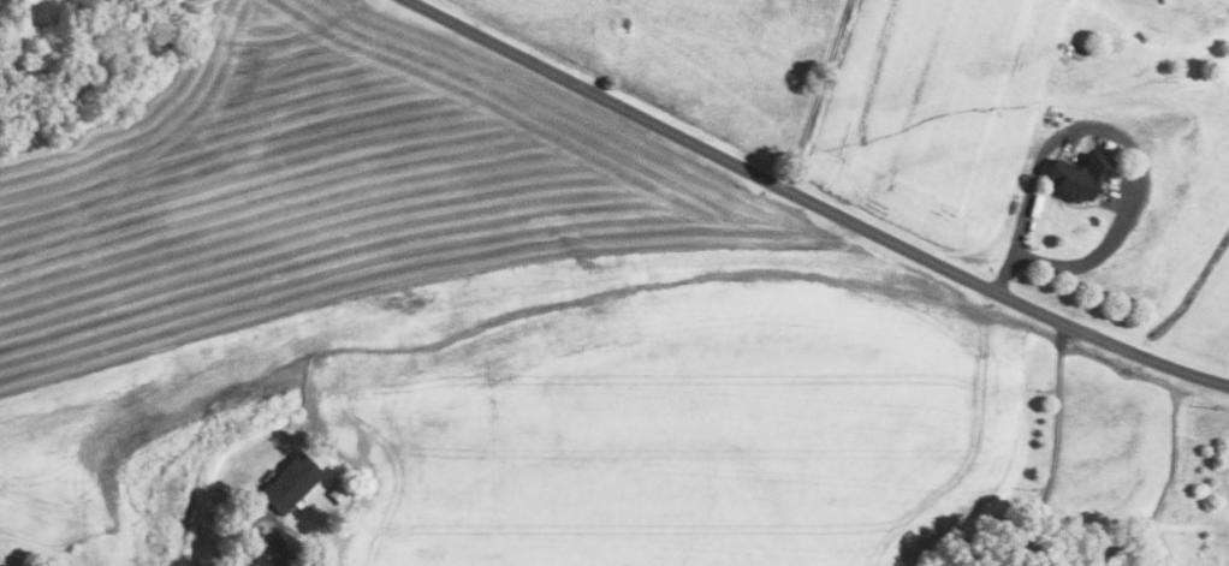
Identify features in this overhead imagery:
road: (818, 94)
crop: (932, 111)
road: (1115, 133)
building: (1079, 177)
road: (814, 202)
crop: (500, 310)
road: (1053, 441)
crop: (109, 461)
building: (290, 483)
road: (280, 549)

